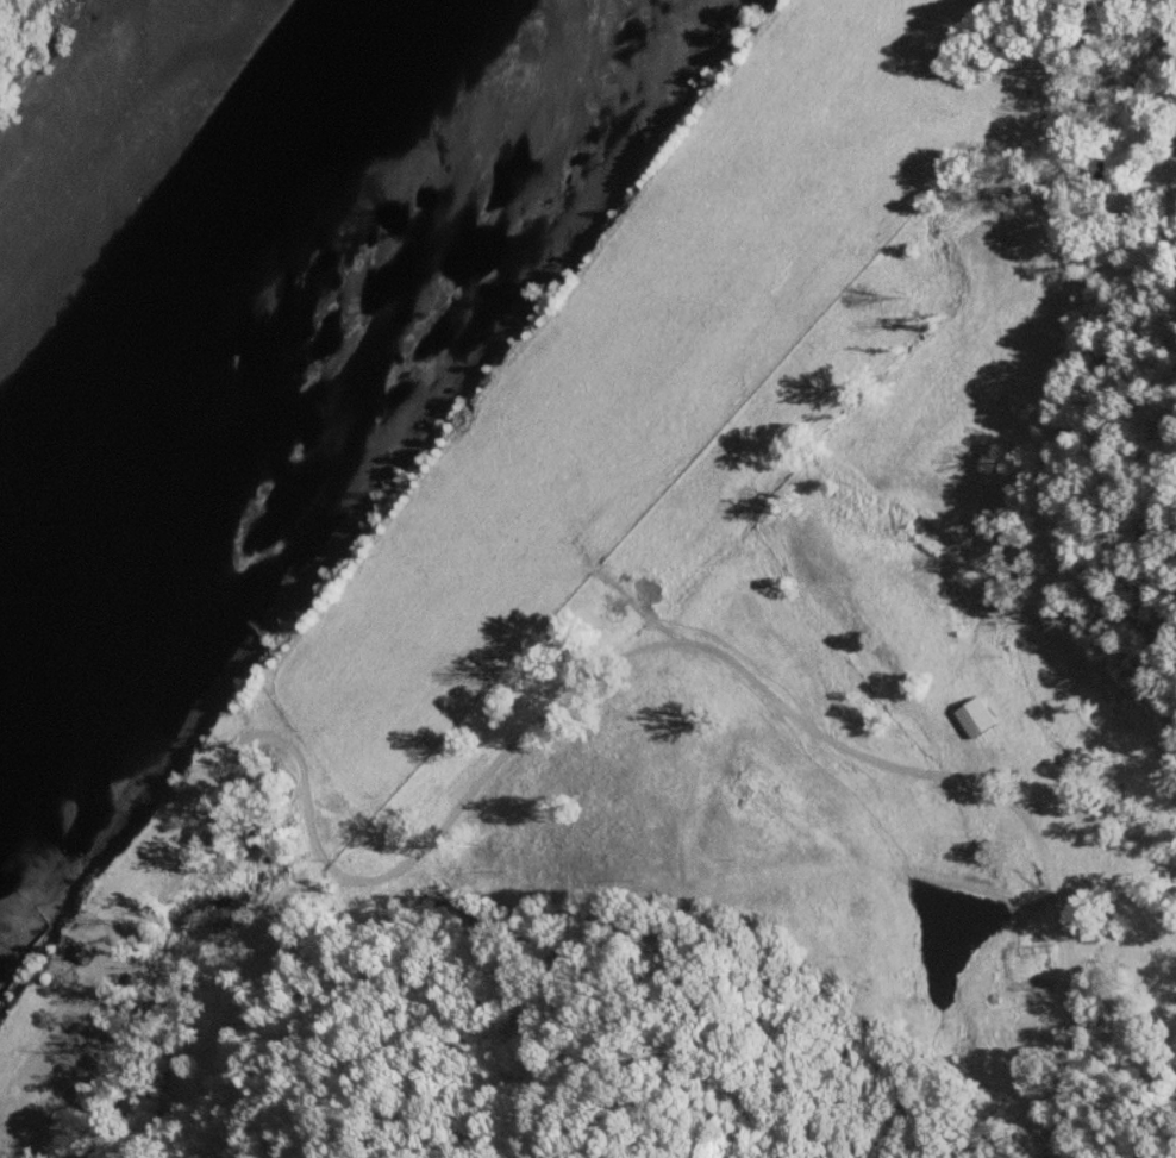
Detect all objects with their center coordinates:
river: (261, 359)
building: (971, 716)
road: (957, 928)

